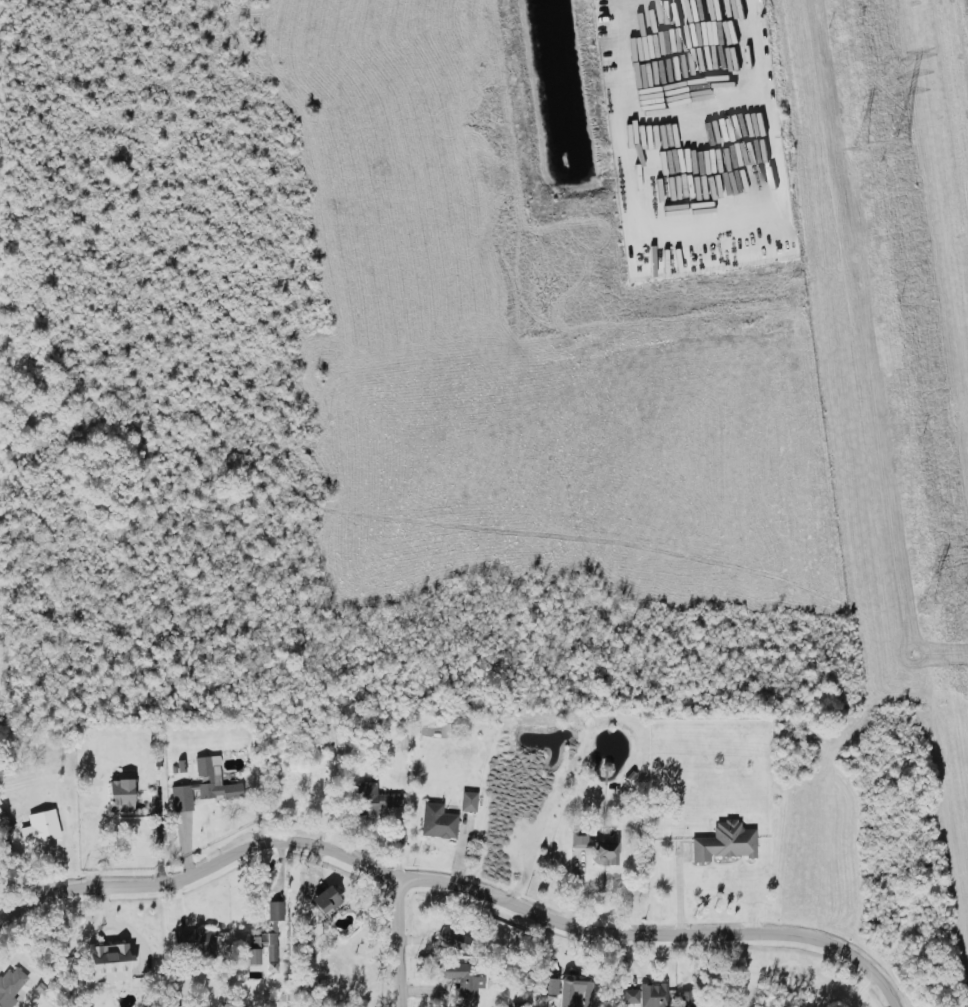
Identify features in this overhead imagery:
road: (764, 106)
power tower: (899, 143)
power tower: (862, 152)
power tower: (967, 597)
power tower: (928, 605)
building: (204, 785)
building: (120, 795)
building: (468, 801)
building: (438, 821)
building: (40, 828)
building: (579, 839)
building: (724, 842)
building: (605, 852)
road: (403, 859)
road: (449, 892)
building: (325, 900)
building: (275, 910)
building: (254, 942)
building: (193, 944)
building: (269, 945)
building: (253, 956)
building: (110, 962)
building: (271, 966)
building: (460, 983)
building: (10, 986)
building: (548, 986)
road: (859, 991)
building: (575, 993)
building: (648, 995)

